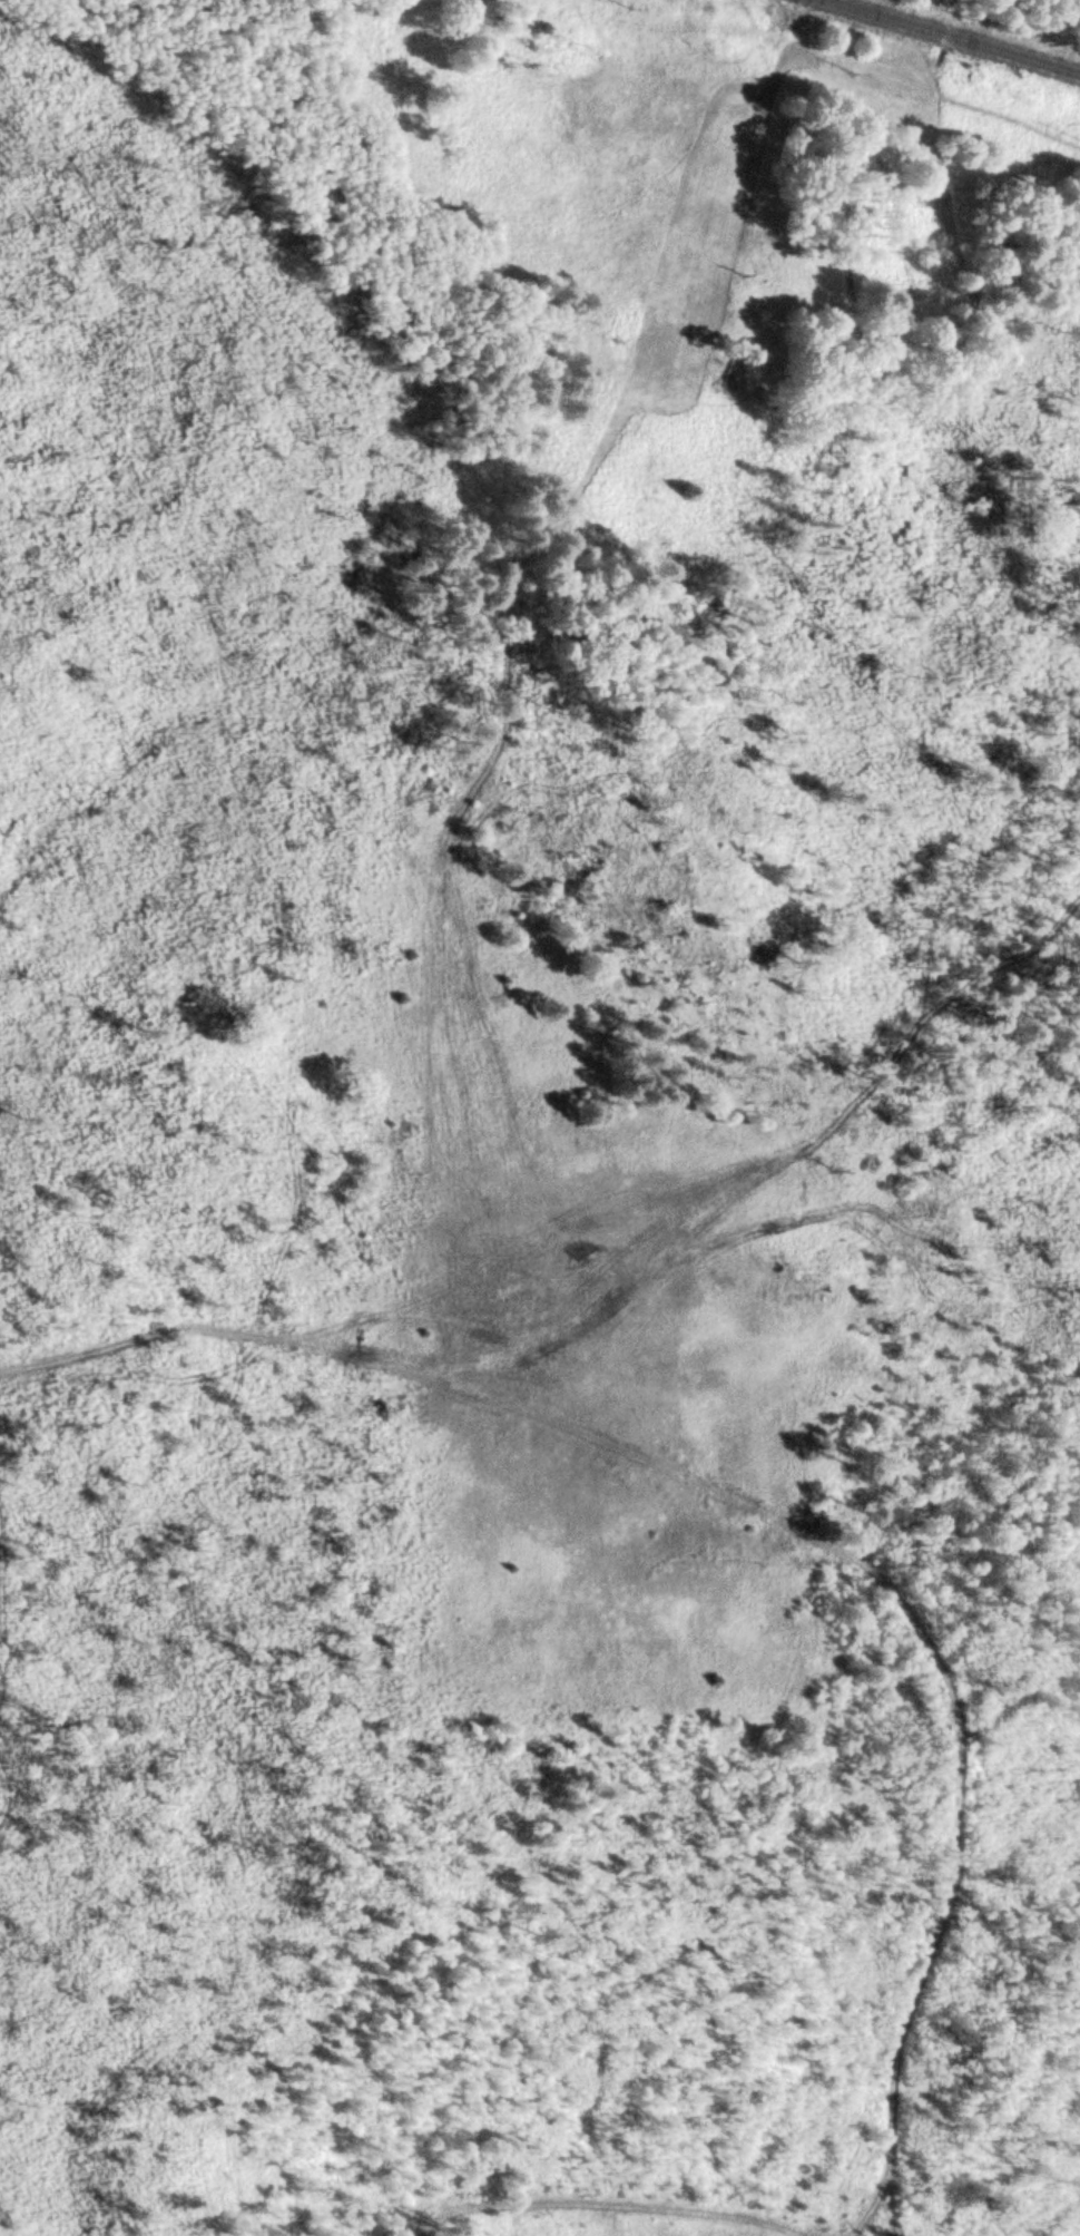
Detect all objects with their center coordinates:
railway: (953, 36)

